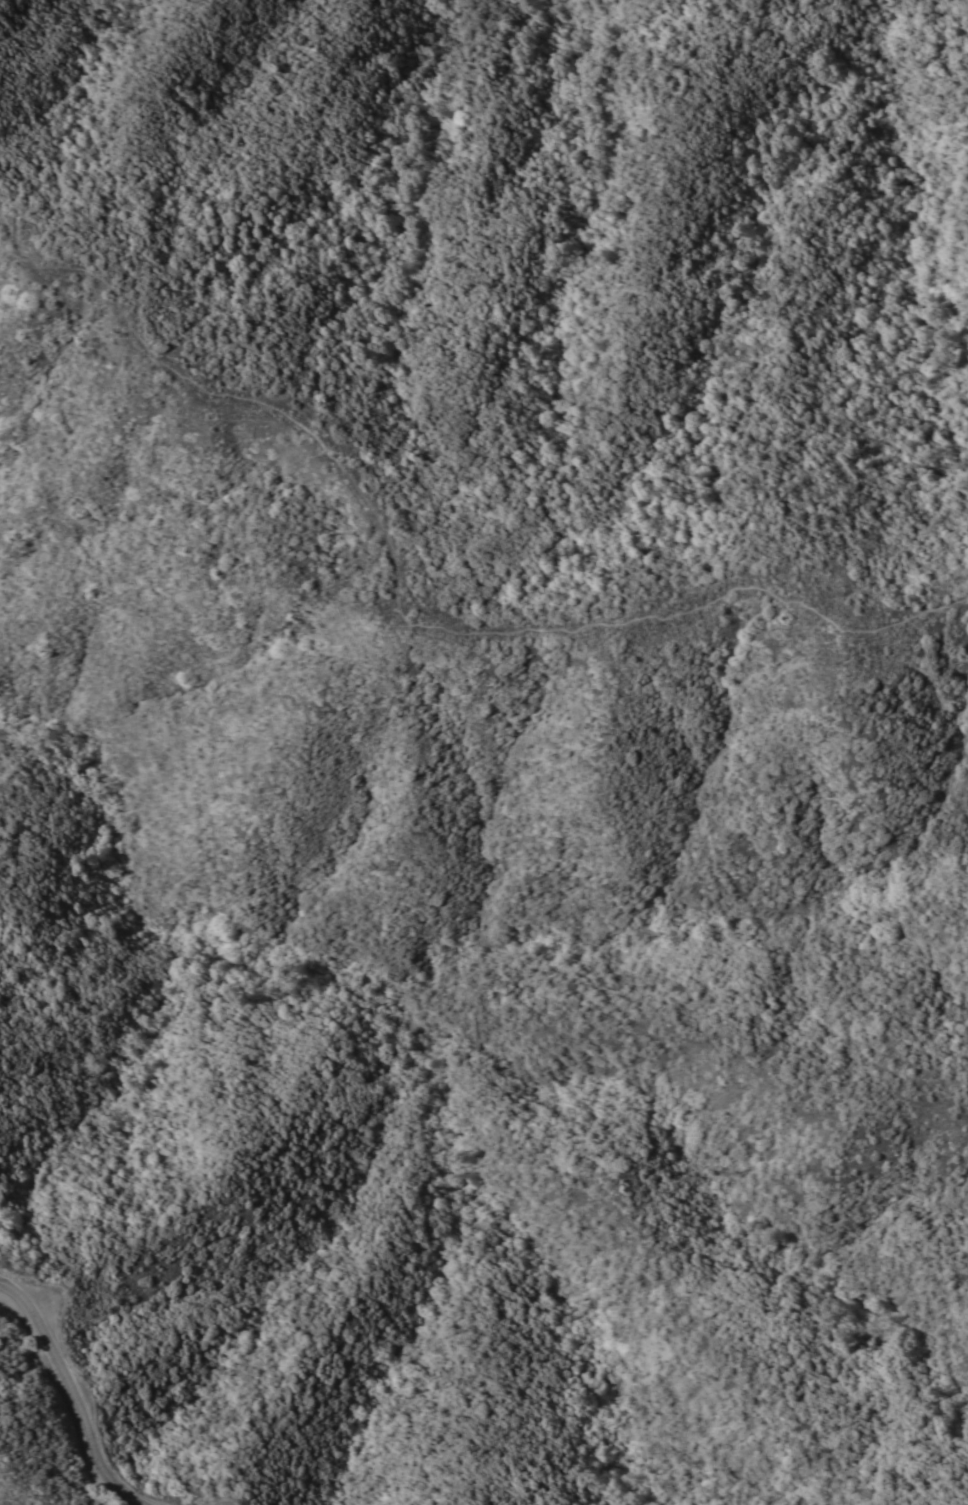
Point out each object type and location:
road: (72, 1393)

